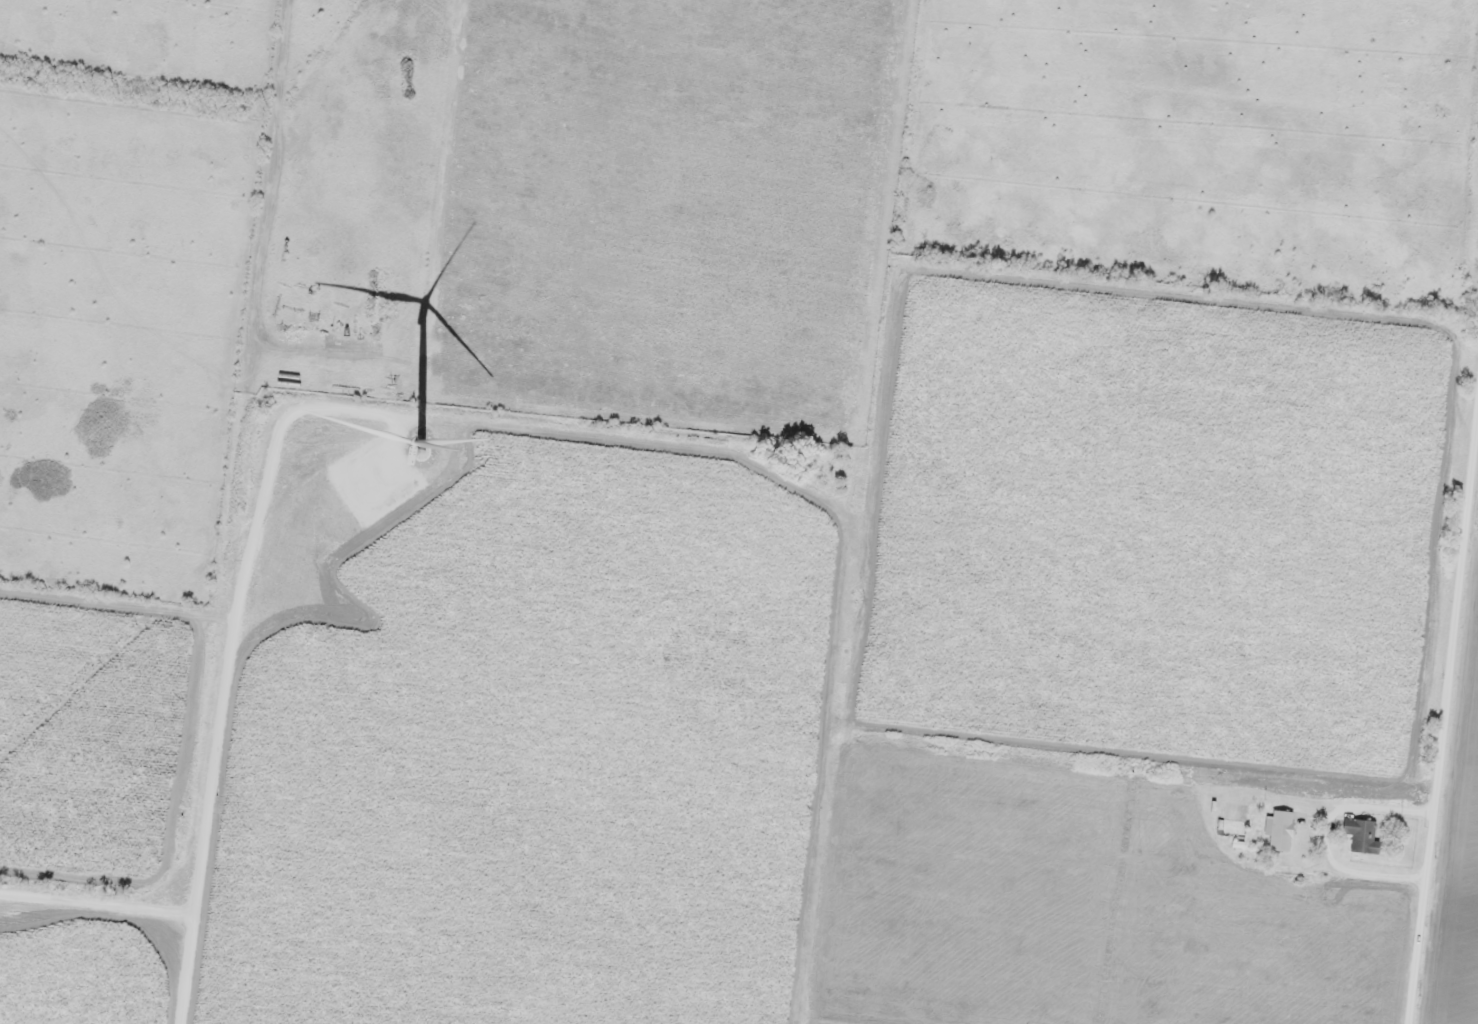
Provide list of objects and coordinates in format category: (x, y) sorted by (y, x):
wind turbine: (421, 444)
road: (1443, 702)
building: (1278, 829)
building: (1361, 834)
road: (1452, 870)

